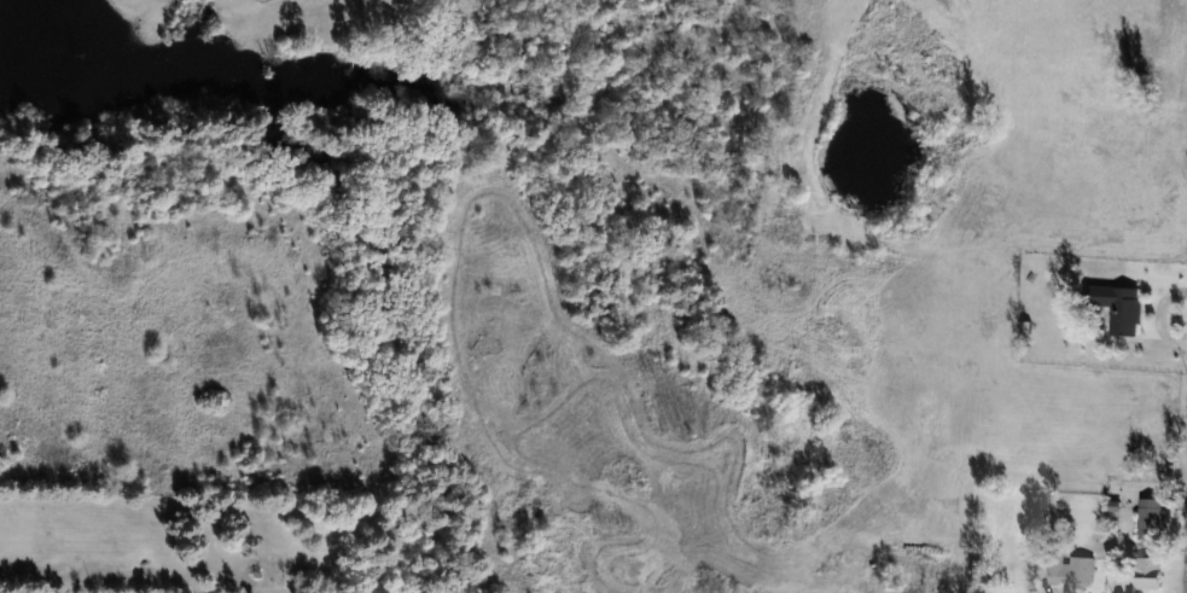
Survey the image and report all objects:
building: (1122, 308)
building: (1151, 519)
building: (1072, 571)
building: (1148, 572)

